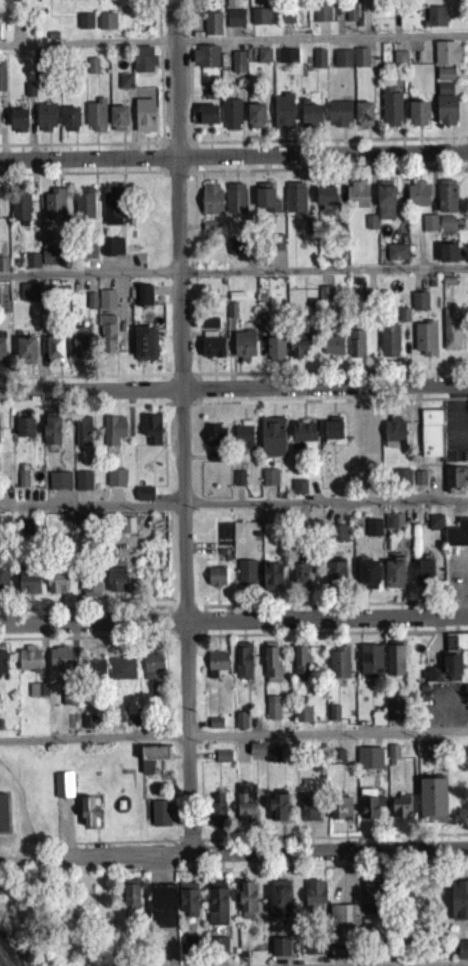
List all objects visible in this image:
building: (7, 0)
building: (322, 18)
road: (367, 18)
building: (351, 19)
building: (260, 21)
building: (435, 21)
building: (235, 23)
building: (287, 23)
building: (85, 26)
building: (107, 26)
building: (212, 29)
road: (233, 40)
building: (446, 58)
building: (263, 60)
building: (205, 61)
building: (286, 61)
building: (361, 62)
building: (319, 63)
building: (342, 63)
building: (400, 63)
building: (143, 65)
building: (238, 66)
building: (92, 70)
building: (445, 79)
building: (2, 83)
building: (125, 86)
building: (444, 93)
building: (391, 112)
building: (446, 115)
building: (283, 117)
building: (339, 119)
building: (419, 119)
building: (95, 120)
building: (208, 120)
building: (231, 120)
building: (364, 120)
building: (45, 121)
building: (145, 121)
building: (255, 121)
building: (311, 121)
building: (18, 123)
building: (70, 124)
building: (119, 124)
road: (234, 156)
building: (357, 199)
building: (418, 199)
building: (325, 200)
building: (446, 201)
building: (295, 202)
building: (235, 203)
building: (266, 203)
building: (211, 204)
building: (385, 205)
building: (53, 209)
building: (84, 209)
building: (20, 211)
building: (113, 212)
building: (371, 228)
building: (429, 228)
building: (446, 229)
building: (309, 231)
building: (236, 251)
building: (112, 252)
building: (88, 255)
building: (397, 257)
building: (450, 258)
building: (52, 260)
building: (31, 266)
building: (3, 269)
road: (233, 277)
building: (29, 297)
building: (144, 300)
building: (106, 304)
building: (91, 306)
building: (419, 306)
building: (403, 320)
building: (209, 328)
building: (452, 333)
building: (107, 339)
building: (425, 343)
building: (389, 346)
building: (80, 347)
building: (145, 349)
building: (244, 350)
building: (333, 350)
building: (356, 352)
building: (55, 353)
building: (212, 353)
building: (275, 354)
building: (298, 354)
building: (25, 355)
building: (2, 357)
road: (233, 388)
road: (186, 428)
building: (25, 432)
building: (332, 433)
building: (113, 435)
building: (153, 435)
building: (52, 436)
building: (243, 438)
building: (394, 438)
building: (83, 439)
building: (304, 439)
building: (431, 439)
building: (215, 441)
building: (272, 441)
building: (215, 462)
building: (401, 480)
building: (456, 482)
building: (116, 483)
building: (239, 483)
building: (270, 483)
building: (23, 484)
building: (59, 486)
building: (83, 486)
building: (299, 492)
building: (144, 498)
road: (327, 507)
road: (93, 511)
building: (435, 526)
building: (390, 527)
building: (128, 530)
building: (373, 533)
building: (337, 538)
building: (457, 539)
building: (301, 576)
building: (246, 578)
building: (394, 578)
building: (425, 578)
building: (335, 579)
building: (368, 580)
building: (216, 582)
building: (271, 582)
building: (4, 584)
building: (116, 585)
building: (29, 587)
building: (55, 588)
road: (234, 623)
building: (456, 647)
building: (29, 663)
building: (60, 663)
building: (2, 664)
building: (371, 665)
building: (395, 665)
building: (243, 666)
building: (216, 668)
building: (301, 668)
building: (339, 668)
building: (271, 669)
building: (96, 673)
building: (122, 674)
building: (444, 676)
building: (148, 679)
building: (38, 695)
building: (68, 698)
building: (273, 713)
building: (395, 714)
building: (302, 717)
building: (334, 718)
building: (378, 723)
building: (240, 725)
road: (94, 738)
road: (328, 739)
building: (427, 753)
building: (266, 756)
building: (393, 757)
building: (223, 761)
building: (152, 763)
building: (369, 763)
building: (63, 790)
building: (433, 805)
building: (246, 808)
building: (371, 809)
building: (308, 812)
building: (401, 812)
building: (278, 813)
building: (341, 814)
building: (217, 815)
building: (88, 817)
building: (3, 818)
building: (160, 818)
road: (270, 854)
building: (132, 900)
building: (315, 901)
building: (370, 902)
building: (279, 903)
building: (189, 904)
building: (248, 905)
building: (459, 905)
building: (218, 909)
building: (161, 911)
building: (344, 930)
building: (187, 950)
building: (218, 951)
building: (280, 952)
building: (312, 953)
building: (462, 955)
road: (344, 963)
railway: (1, 964)

